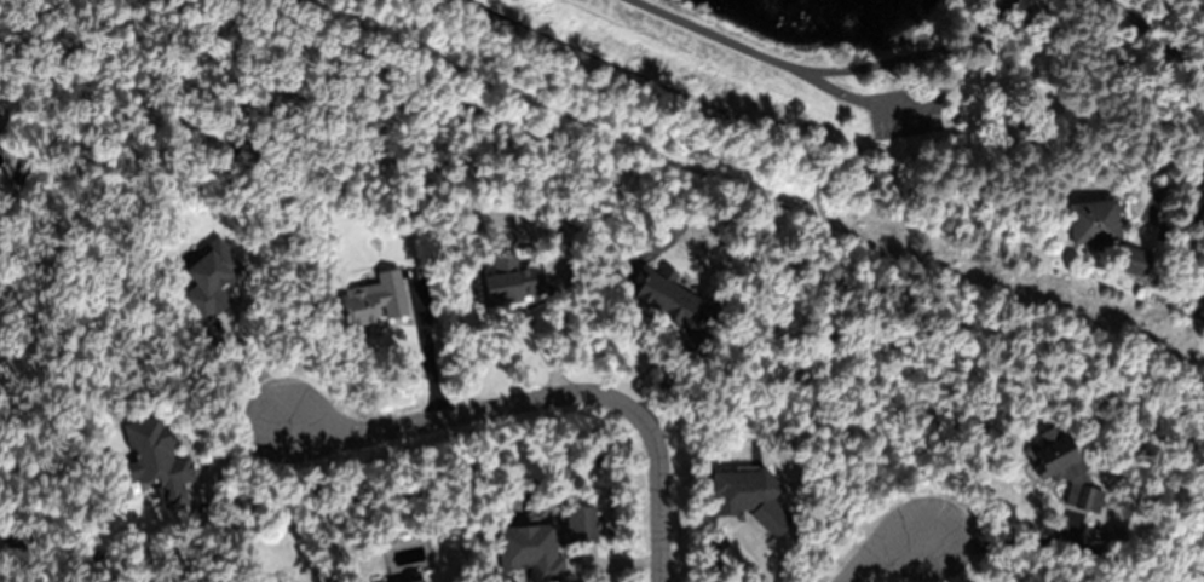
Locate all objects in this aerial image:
road: (1052, 19)
road: (823, 73)
park: (911, 79)
road: (843, 96)
parking lot: (905, 111)
building: (958, 122)
building: (1113, 220)
building: (1133, 258)
building: (211, 280)
building: (512, 282)
building: (666, 298)
building: (375, 301)
road: (548, 397)
building: (156, 461)
building: (1064, 471)
building: (581, 525)
road: (885, 551)
building: (530, 552)
building: (420, 581)

